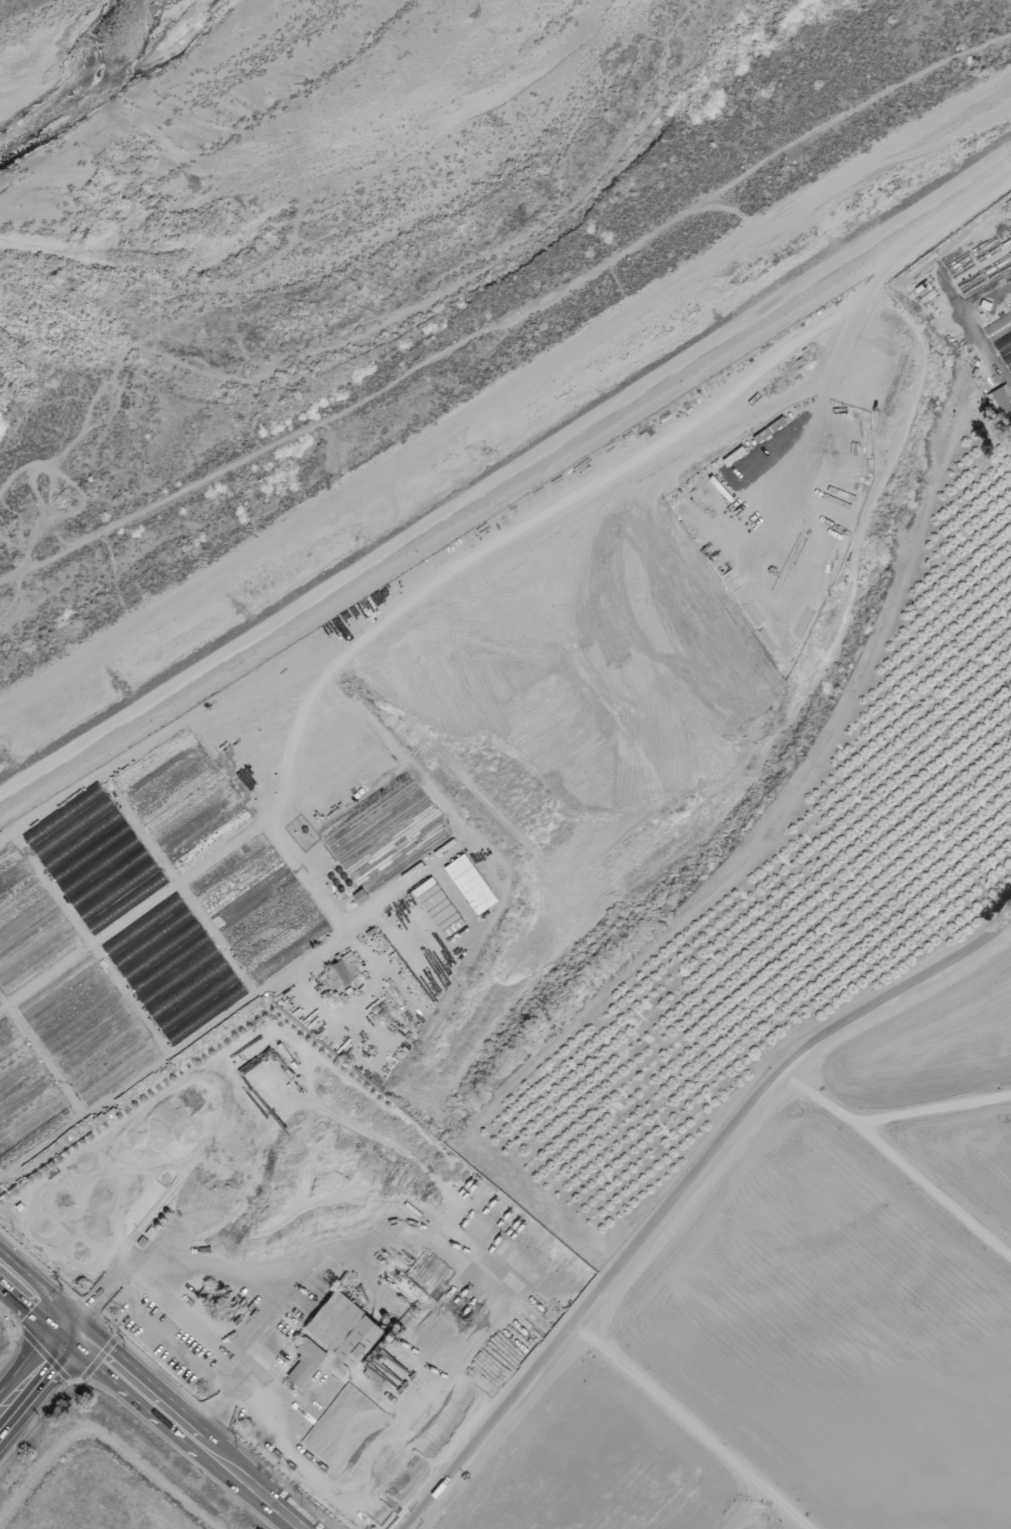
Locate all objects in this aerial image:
crop: (999, 329)
road: (497, 393)
building: (1001, 398)
road: (505, 472)
building: (469, 882)
building: (439, 911)
building: (346, 966)
road: (680, 1192)
road: (106, 1292)
road: (35, 1302)
building: (343, 1326)
traffic signals: (71, 1334)
building: (304, 1360)
road: (35, 1378)
road: (233, 1390)
road: (186, 1431)
crop: (105, 1478)

